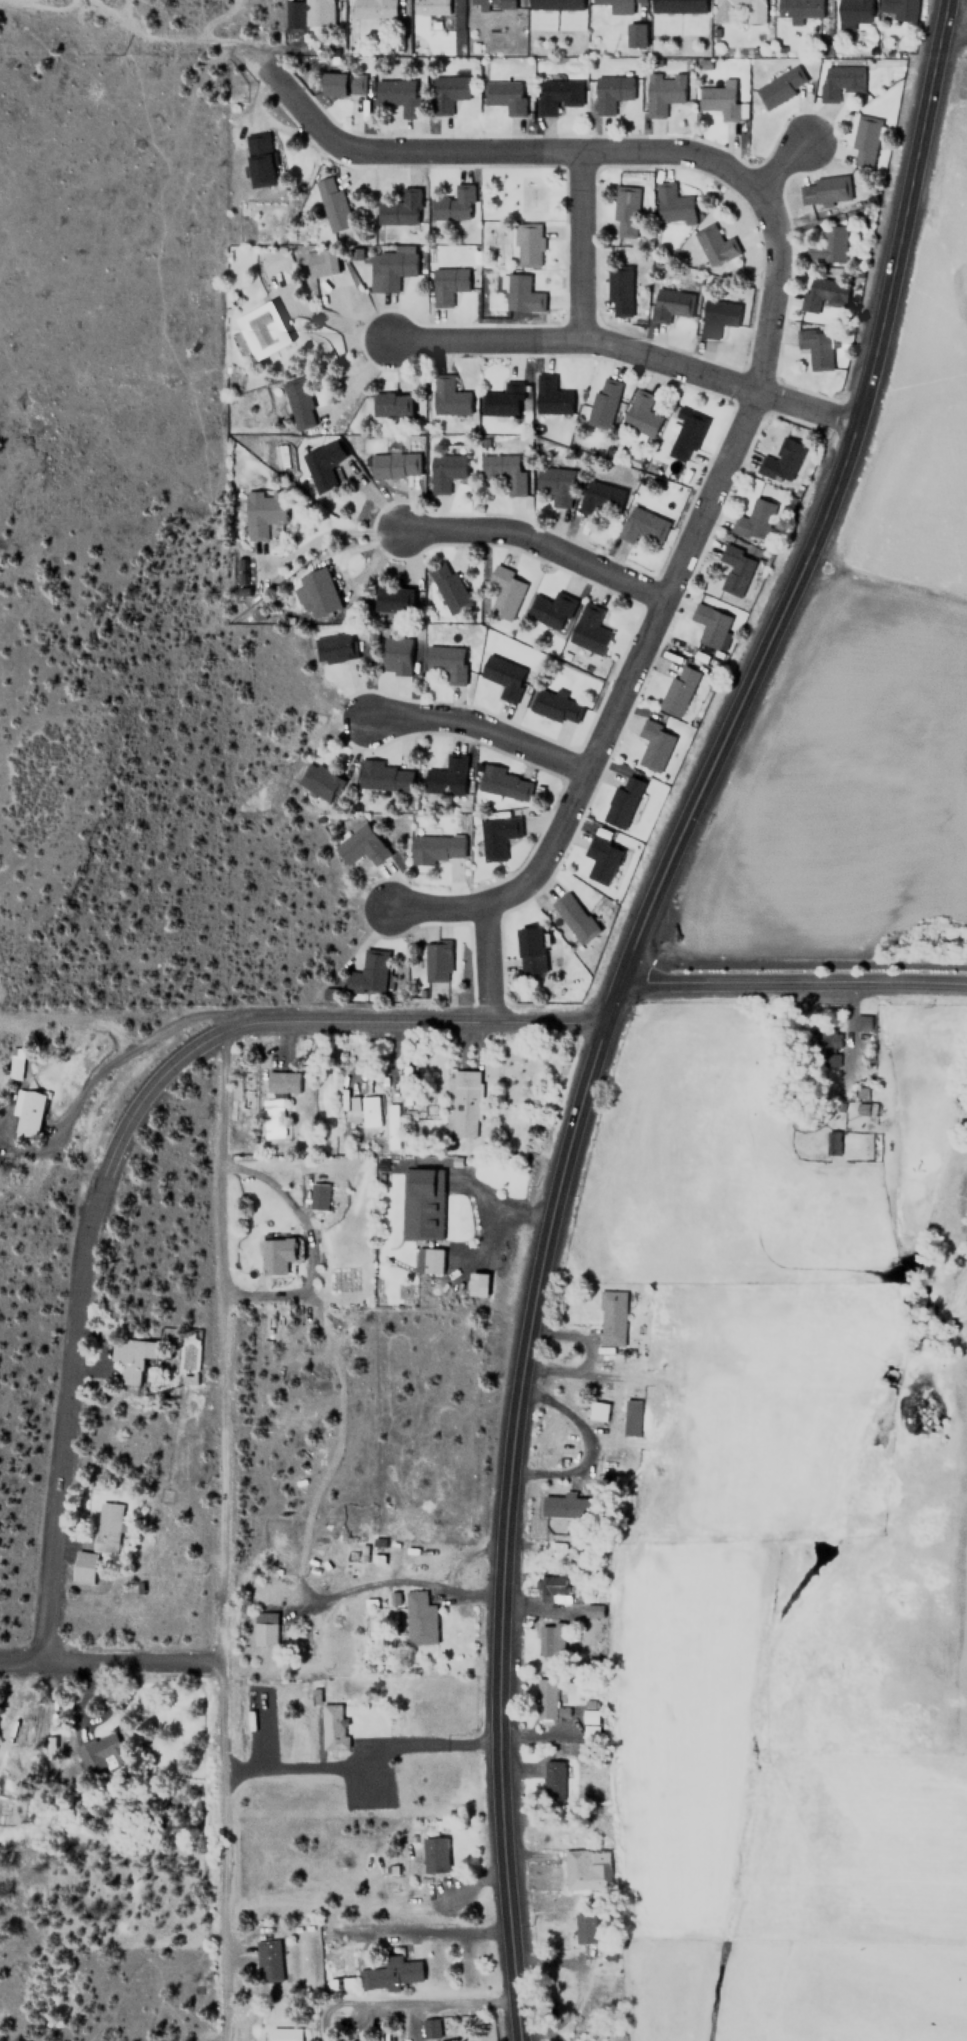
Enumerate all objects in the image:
building: (490, 4)
building: (554, 4)
building: (615, 6)
building: (677, 6)
building: (430, 7)
building: (731, 7)
building: (373, 8)
building: (797, 8)
building: (899, 9)
building: (853, 11)
building: (317, 12)
building: (637, 34)
building: (704, 64)
building: (838, 82)
building: (341, 84)
building: (781, 86)
building: (446, 92)
building: (610, 92)
building: (662, 92)
building: (504, 95)
building: (556, 95)
building: (397, 96)
building: (718, 101)
building: (863, 141)
building: (259, 160)
road: (783, 168)
building: (823, 190)
building: (453, 205)
building: (671, 206)
building: (332, 207)
building: (396, 211)
building: (624, 212)
building: (527, 245)
road: (583, 245)
building: (713, 246)
building: (828, 246)
building: (319, 262)
building: (389, 267)
building: (446, 285)
building: (619, 292)
building: (519, 293)
building: (822, 293)
building: (669, 305)
road: (768, 309)
building: (717, 317)
building: (261, 330)
building: (816, 350)
road: (628, 351)
building: (550, 396)
building: (447, 398)
building: (502, 401)
building: (603, 403)
building: (297, 404)
building: (391, 404)
building: (640, 415)
building: (685, 435)
building: (780, 462)
building: (321, 464)
building: (394, 466)
building: (445, 471)
building: (504, 472)
building: (554, 484)
building: (599, 497)
building: (262, 512)
building: (754, 520)
building: (640, 525)
road: (536, 543)
building: (734, 570)
building: (240, 571)
building: (448, 587)
building: (504, 593)
building: (314, 594)
building: (392, 601)
building: (549, 610)
building: (711, 626)
building: (589, 630)
building: (332, 649)
building: (394, 656)
building: (446, 662)
building: (503, 677)
building: (678, 690)
building: (554, 705)
road: (479, 730)
building: (654, 745)
building: (384, 775)
building: (446, 775)
building: (319, 781)
building: (504, 783)
building: (621, 802)
building: (495, 836)
building: (360, 845)
building: (435, 848)
building: (601, 859)
road: (436, 908)
building: (573, 917)
building: (529, 950)
building: (437, 960)
road: (484, 964)
building: (368, 973)
road: (792, 979)
road: (612, 997)
road: (414, 1021)
building: (828, 1045)
building: (14, 1068)
building: (281, 1082)
building: (461, 1104)
building: (867, 1108)
building: (355, 1109)
building: (370, 1111)
building: (27, 1112)
building: (392, 1115)
building: (272, 1116)
building: (832, 1142)
building: (317, 1195)
building: (420, 1204)
building: (275, 1254)
building: (427, 1259)
building: (479, 1283)
building: (611, 1317)
road: (75, 1319)
building: (131, 1357)
building: (597, 1411)
building: (631, 1417)
road: (572, 1440)
building: (563, 1505)
building: (108, 1527)
road: (221, 1535)
building: (85, 1567)
road: (404, 1581)
building: (552, 1588)
building: (395, 1598)
building: (592, 1609)
building: (418, 1619)
building: (264, 1627)
building: (550, 1638)
road: (111, 1661)
building: (544, 1697)
building: (589, 1723)
building: (332, 1729)
building: (99, 1752)
building: (552, 1774)
building: (434, 1854)
building: (586, 1868)
building: (584, 1928)
road: (458, 1930)
building: (267, 1960)
building: (386, 1975)
road: (436, 2007)
building: (284, 2034)

